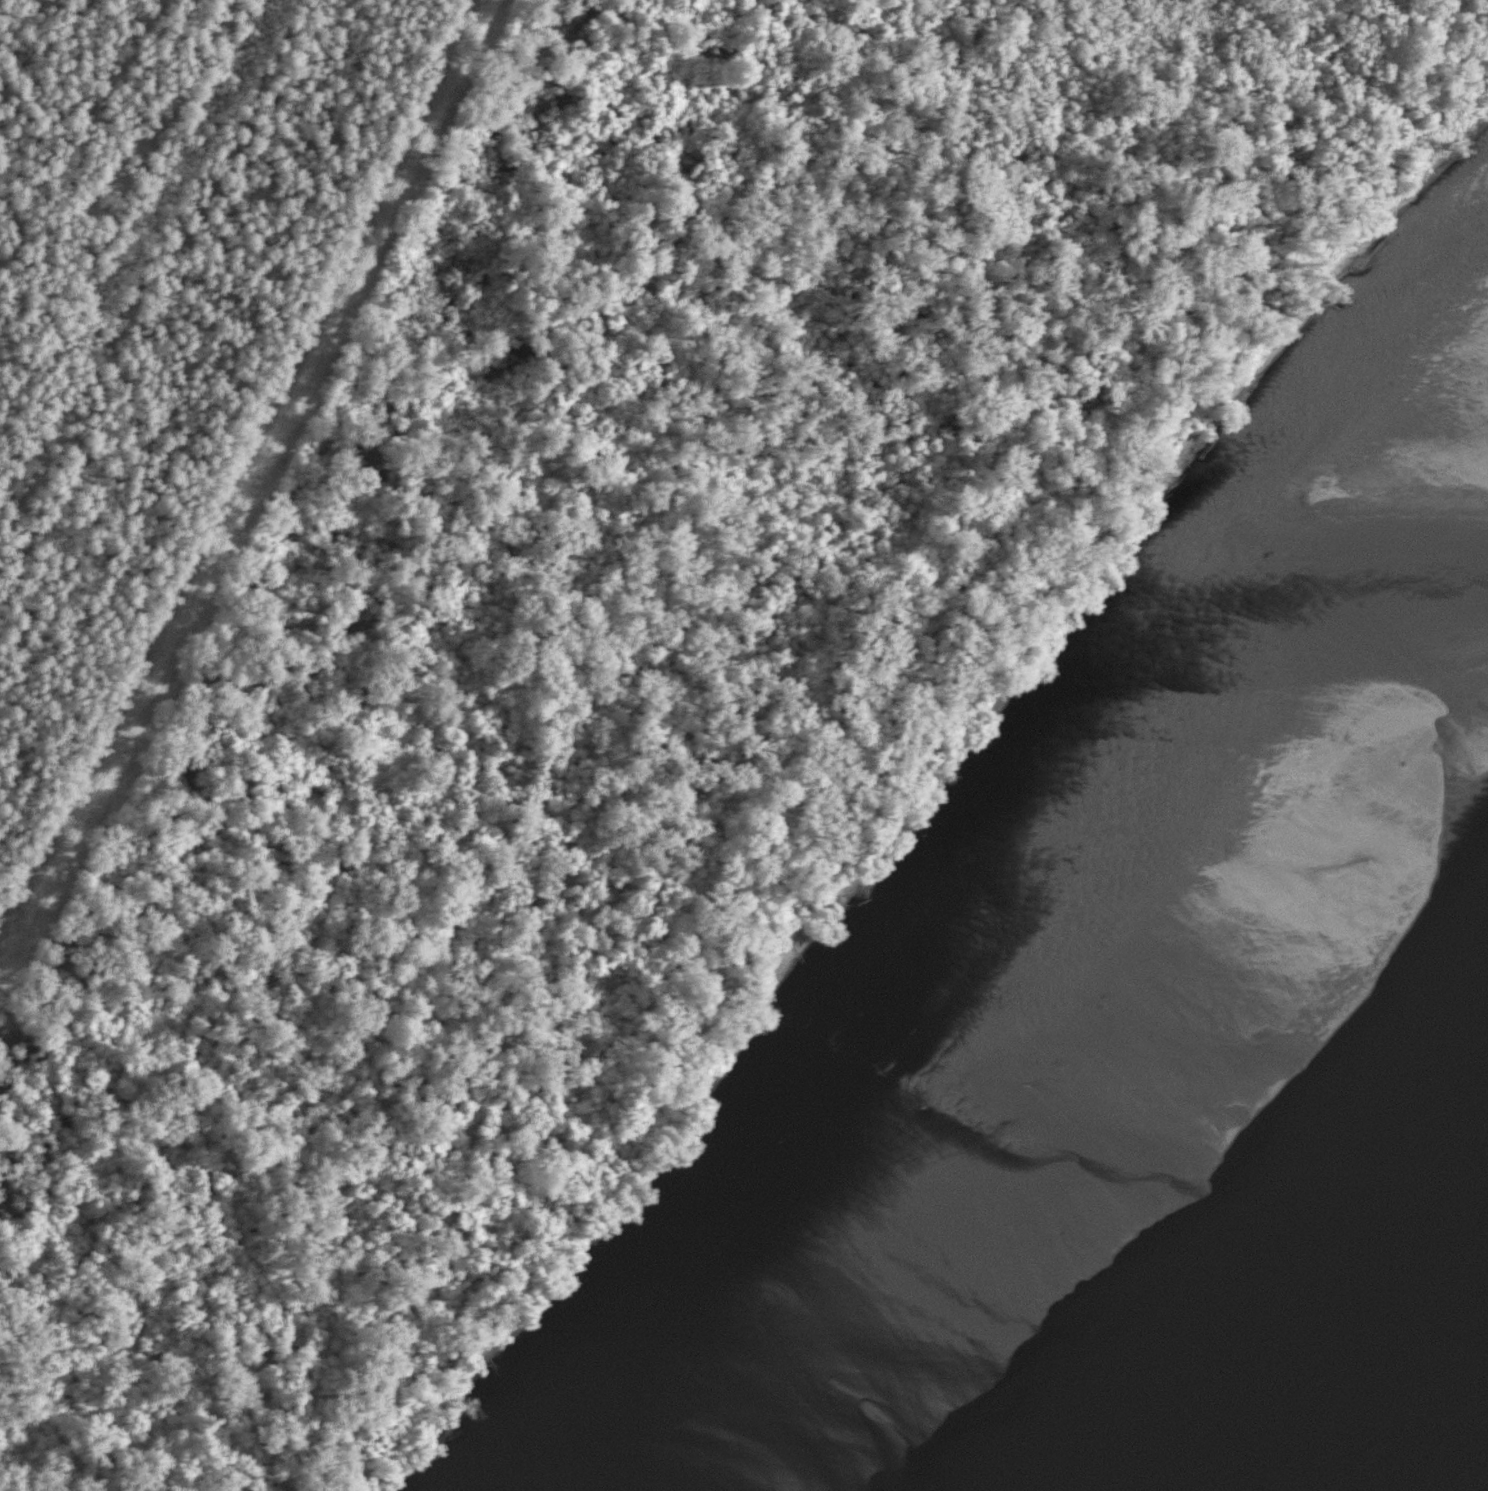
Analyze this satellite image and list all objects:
river: (1437, 1423)

